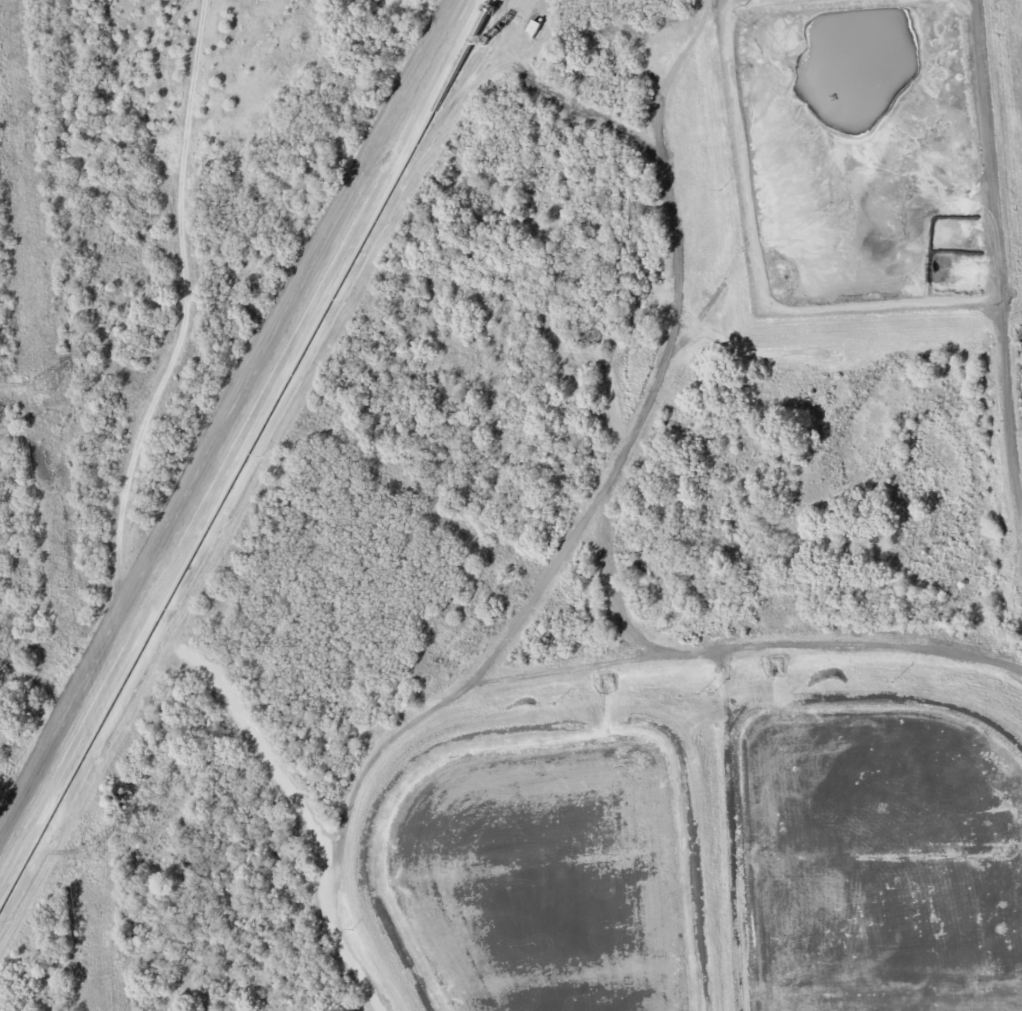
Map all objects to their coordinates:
road: (184, 319)
power tower: (44, 387)
road: (225, 418)
road: (1018, 470)
road: (292, 784)
power tower: (91, 854)

